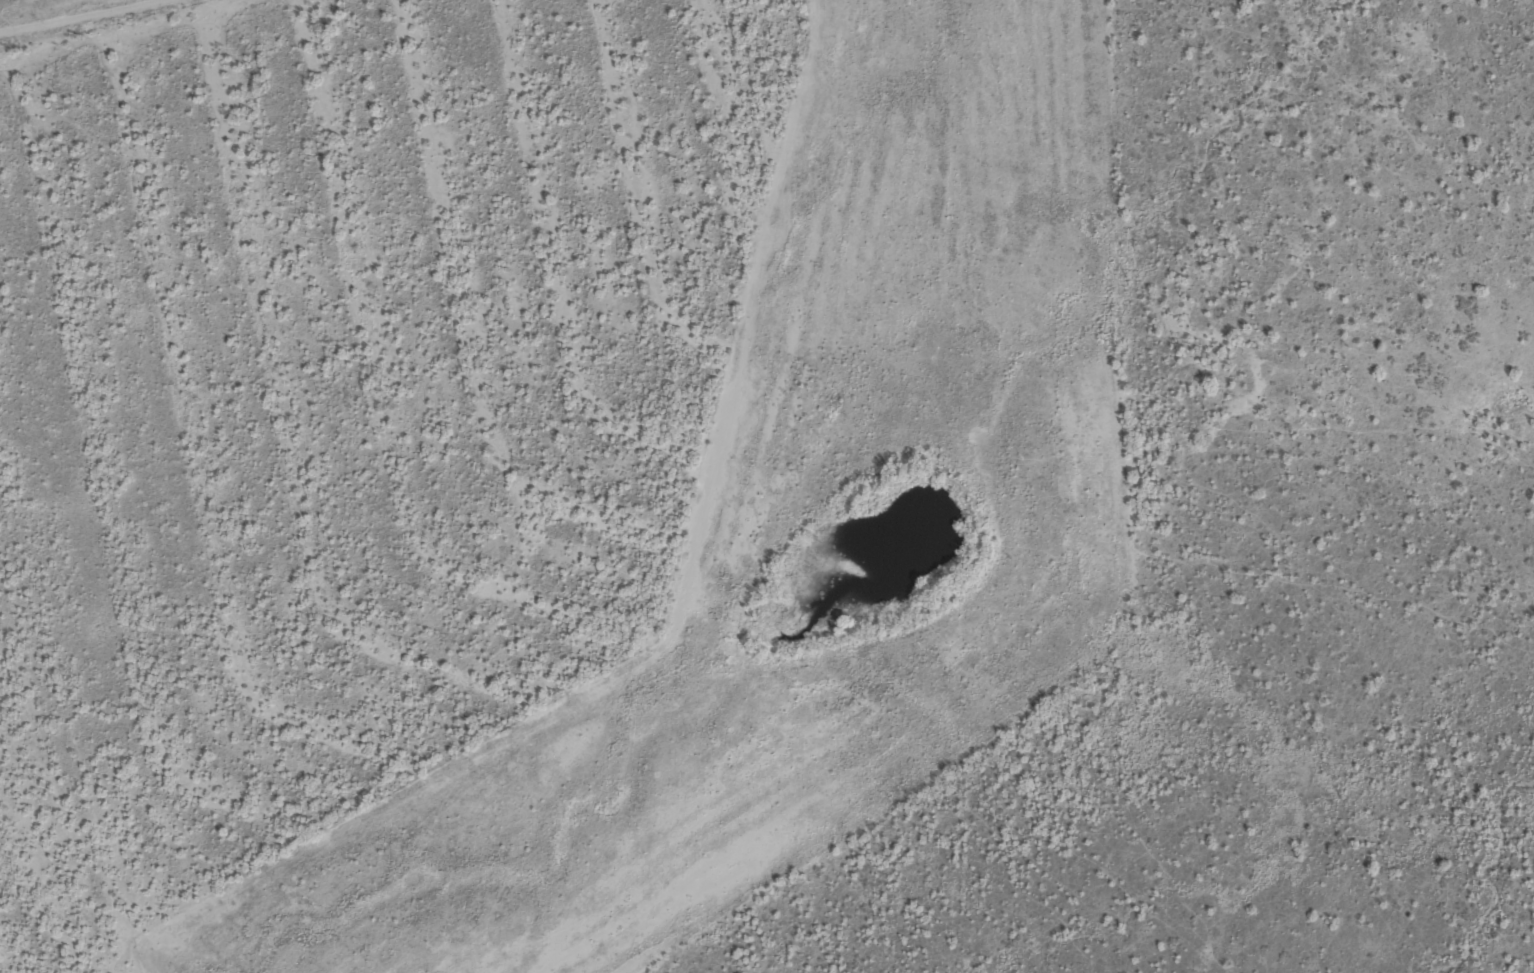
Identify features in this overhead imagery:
road: (102, 25)

